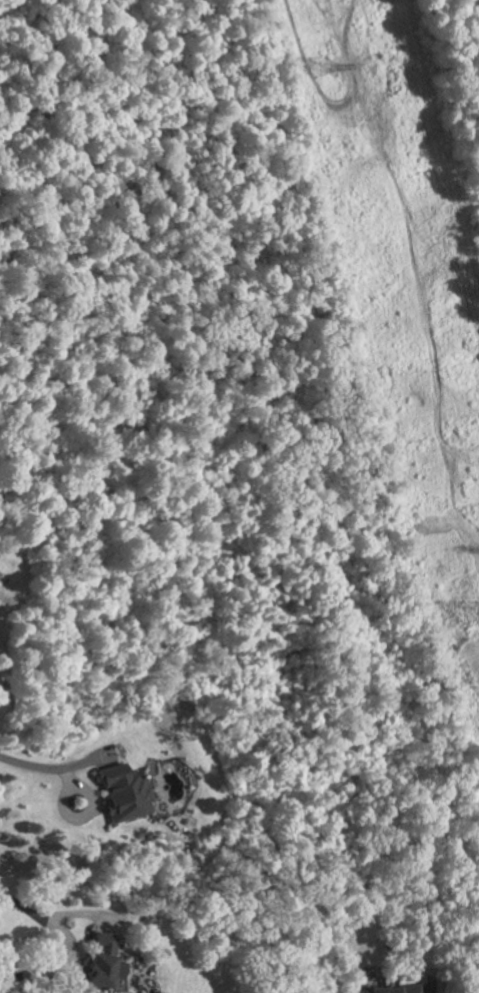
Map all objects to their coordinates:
power tower: (321, 67)
power tower: (473, 613)
road: (45, 767)
building: (122, 793)
road: (45, 919)
building: (105, 961)
road: (38, 973)
building: (392, 989)

